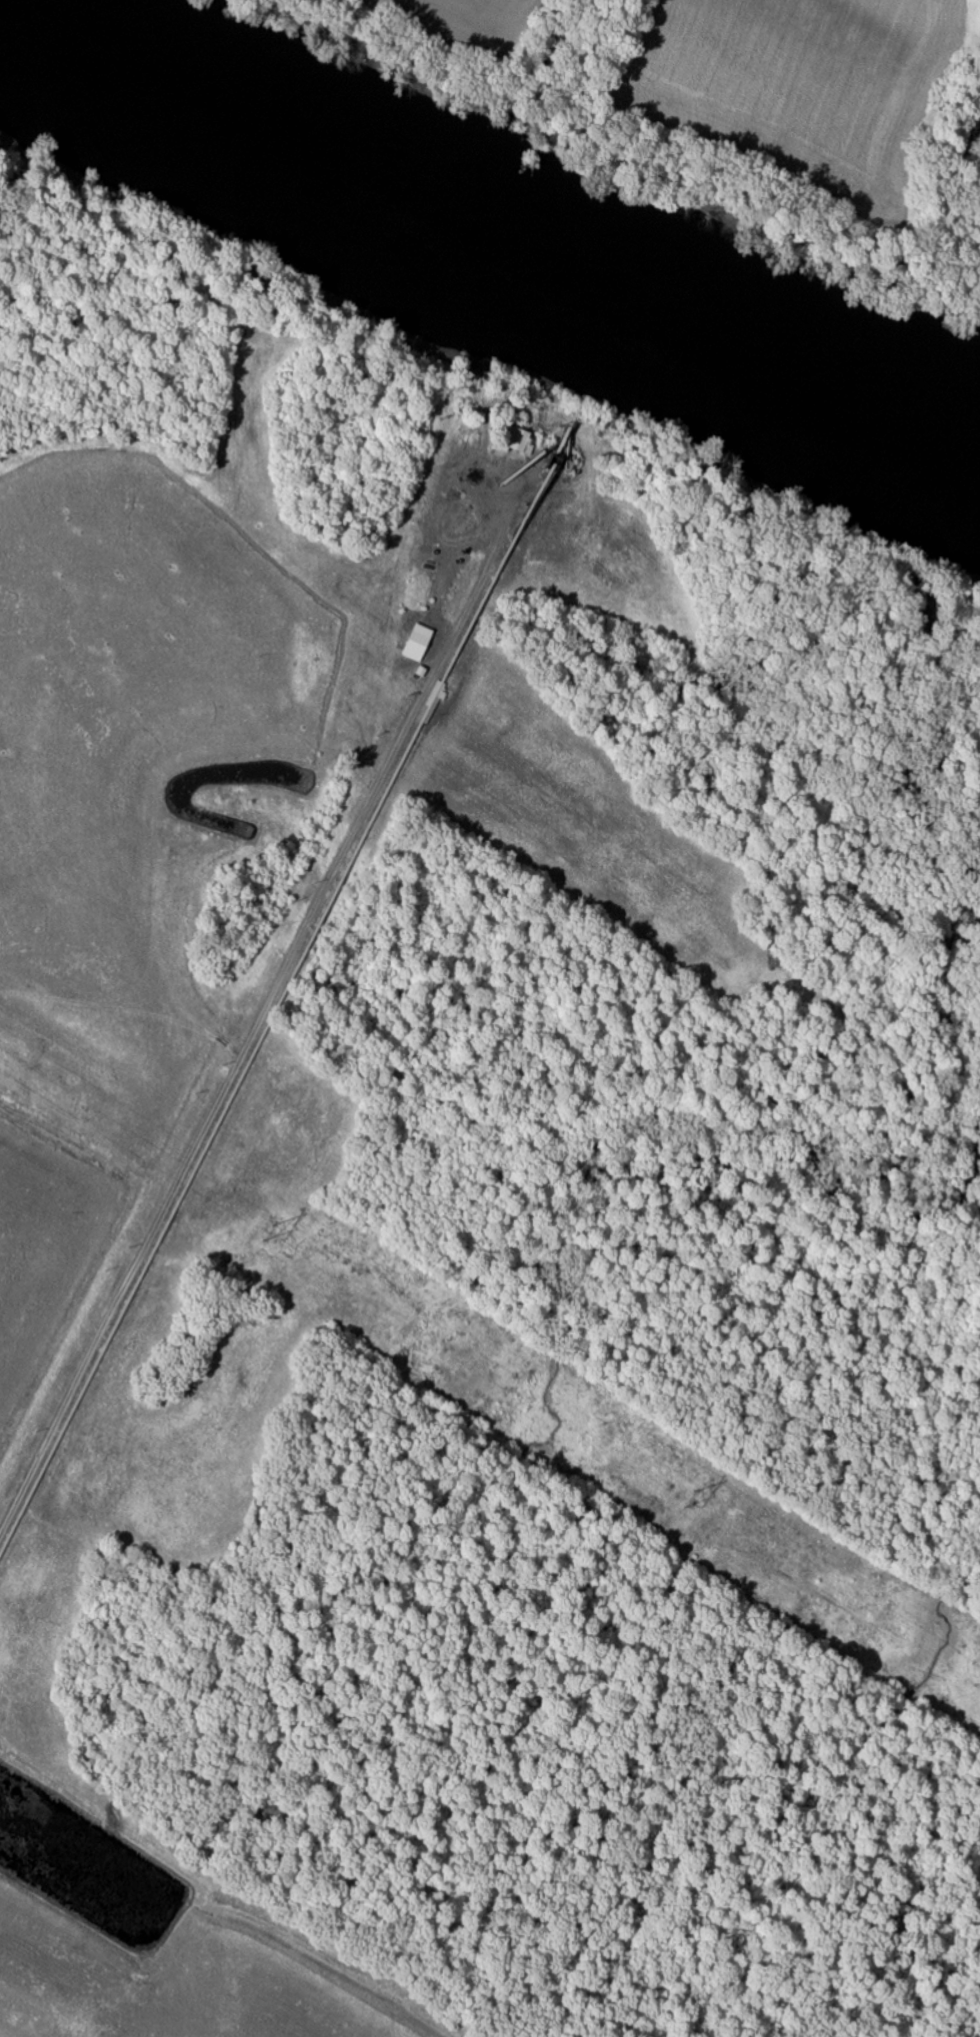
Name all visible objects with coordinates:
river: (496, 223)
building: (519, 439)
building: (420, 644)
power tower: (267, 1234)
power tower: (689, 1500)

